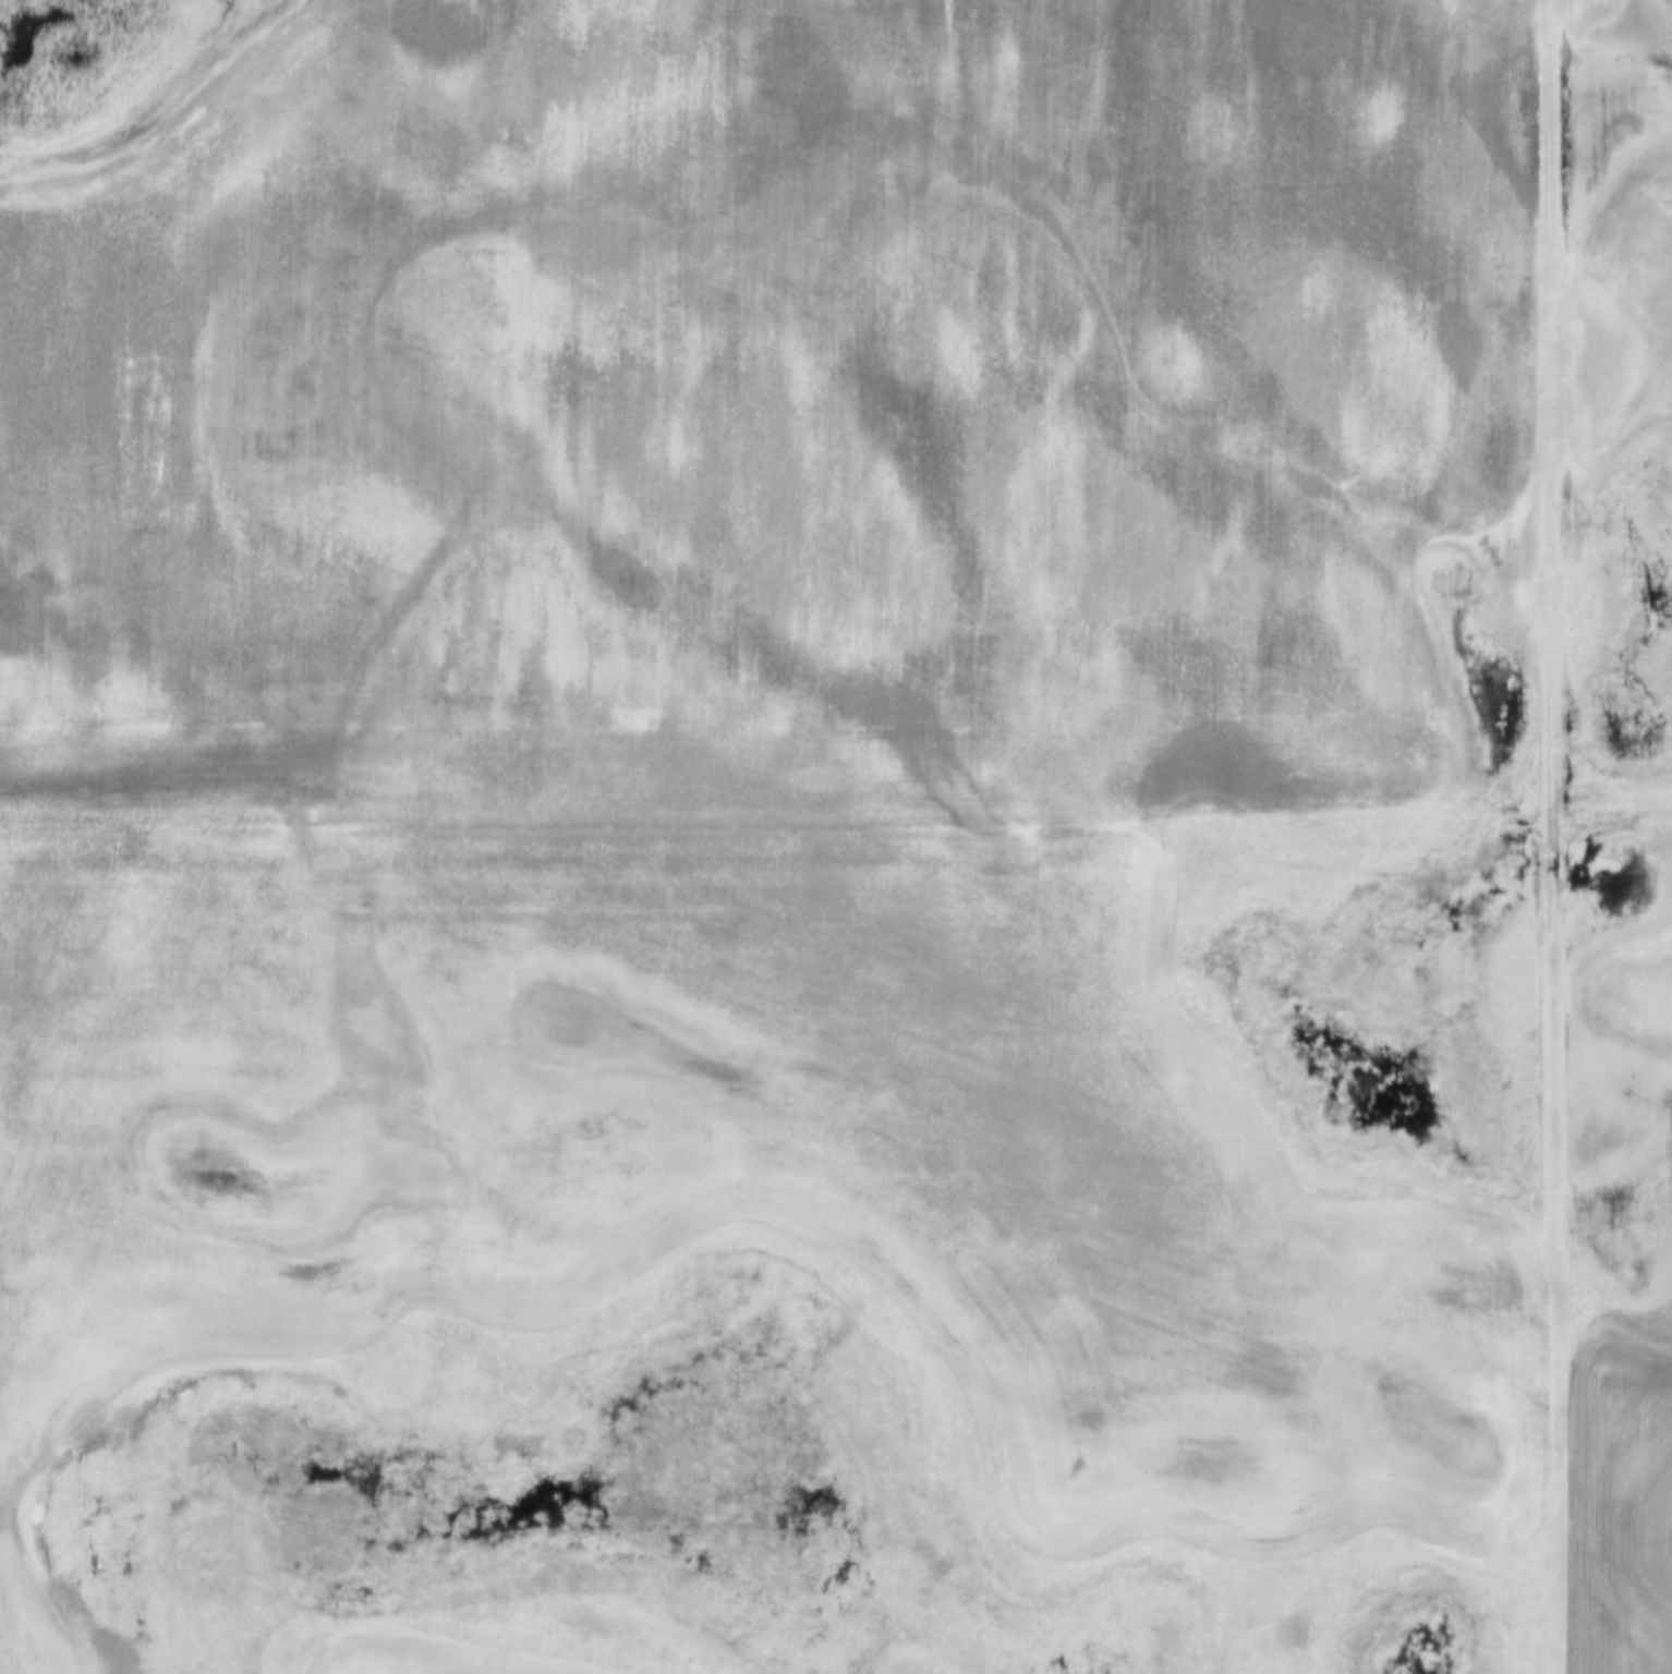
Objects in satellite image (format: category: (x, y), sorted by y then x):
road: (836, 818)
road: (1556, 836)

